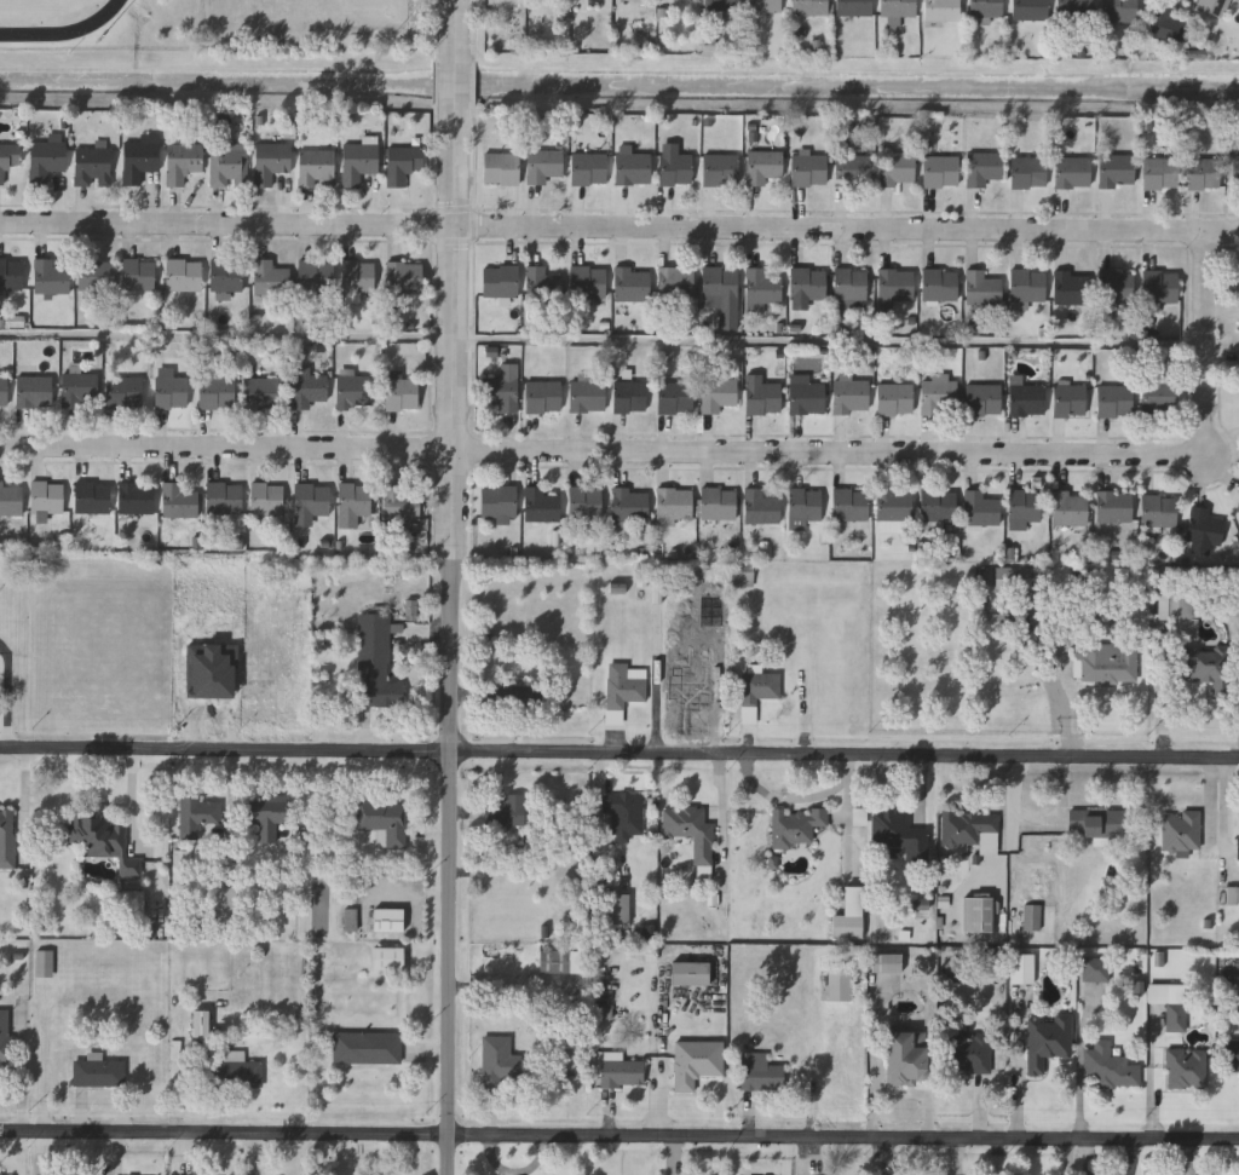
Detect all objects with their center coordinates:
building: (722, 5)
building: (765, 5)
building: (1212, 6)
building: (809, 7)
building: (854, 7)
building: (1073, 7)
building: (897, 8)
building: (943, 10)
building: (985, 10)
building: (1030, 10)
building: (1119, 11)
park: (322, 24)
building: (1166, 24)
road: (439, 29)
road: (459, 30)
road: (478, 30)
road: (438, 81)
road: (476, 83)
road: (457, 88)
road: (434, 156)
road: (477, 157)
building: (8, 159)
building: (140, 159)
building: (47, 160)
building: (271, 161)
building: (184, 162)
building: (359, 162)
building: (403, 165)
building: (544, 166)
building: (93, 167)
building: (229, 167)
building: (633, 167)
building: (765, 167)
building: (318, 168)
building: (984, 168)
building: (502, 169)
building: (589, 169)
building: (675, 169)
building: (722, 169)
building: (897, 169)
building: (809, 171)
building: (852, 171)
building: (1117, 171)
building: (941, 172)
building: (1030, 172)
building: (1073, 172)
building: (1162, 173)
building: (1235, 173)
building: (1204, 174)
road: (619, 225)
road: (476, 238)
building: (11, 275)
building: (96, 276)
building: (184, 276)
building: (226, 276)
building: (139, 277)
building: (316, 277)
building: (359, 277)
building: (405, 277)
building: (51, 278)
building: (270, 280)
building: (501, 282)
building: (589, 282)
building: (543, 284)
building: (633, 284)
building: (676, 284)
building: (808, 284)
building: (851, 286)
building: (897, 286)
building: (940, 286)
building: (1028, 286)
building: (1116, 287)
building: (1072, 288)
building: (1160, 288)
building: (763, 289)
building: (984, 289)
building: (722, 294)
road: (227, 335)
road: (830, 341)
building: (309, 390)
building: (80, 391)
building: (355, 391)
building: (403, 391)
building: (4, 392)
building: (35, 392)
building: (125, 392)
building: (172, 392)
building: (215, 393)
building: (261, 393)
building: (502, 394)
building: (719, 394)
building: (807, 396)
building: (852, 396)
building: (544, 397)
building: (588, 397)
building: (630, 397)
building: (763, 397)
building: (676, 398)
building: (940, 398)
building: (1160, 398)
building: (984, 399)
building: (895, 401)
building: (1027, 401)
building: (1071, 401)
building: (1116, 402)
road: (710, 453)
building: (47, 497)
building: (93, 497)
building: (11, 499)
building: (137, 499)
building: (181, 500)
building: (225, 500)
building: (267, 500)
building: (312, 500)
building: (353, 503)
building: (402, 503)
building: (500, 503)
building: (586, 503)
building: (719, 505)
building: (851, 505)
building: (541, 506)
building: (632, 506)
building: (675, 506)
building: (895, 506)
building: (803, 507)
building: (939, 507)
building: (1026, 507)
building: (1114, 507)
building: (761, 508)
building: (1071, 508)
building: (981, 509)
building: (1238, 509)
building: (1159, 512)
building: (1205, 528)
building: (742, 572)
building: (1018, 578)
building: (1174, 601)
road: (453, 645)
building: (376, 662)
building: (1107, 662)
building: (1208, 667)
building: (623, 687)
building: (757, 691)
building: (512, 696)
road: (618, 755)
road: (785, 797)
building: (506, 811)
building: (196, 813)
building: (266, 814)
building: (623, 816)
road: (847, 817)
building: (385, 819)
building: (1099, 822)
building: (795, 825)
building: (970, 829)
building: (1182, 829)
building: (899, 834)
building: (692, 835)
building: (6, 837)
building: (102, 840)
building: (1238, 847)
building: (1233, 895)
building: (134, 904)
building: (227, 906)
building: (617, 909)
building: (978, 914)
building: (848, 915)
building: (1031, 916)
building: (387, 918)
building: (387, 957)
building: (553, 961)
building: (46, 963)
building: (886, 963)
building: (989, 963)
building: (1021, 968)
building: (1096, 968)
building: (690, 973)
building: (839, 985)
building: (1170, 1003)
building: (200, 1025)
building: (5, 1035)
building: (1048, 1041)
building: (367, 1047)
building: (970, 1052)
building: (1232, 1055)
building: (906, 1058)
building: (496, 1061)
building: (696, 1062)
building: (1108, 1067)
building: (1186, 1070)
building: (235, 1071)
building: (621, 1071)
building: (759, 1071)
building: (98, 1072)
road: (619, 1139)
building: (6, 1174)

